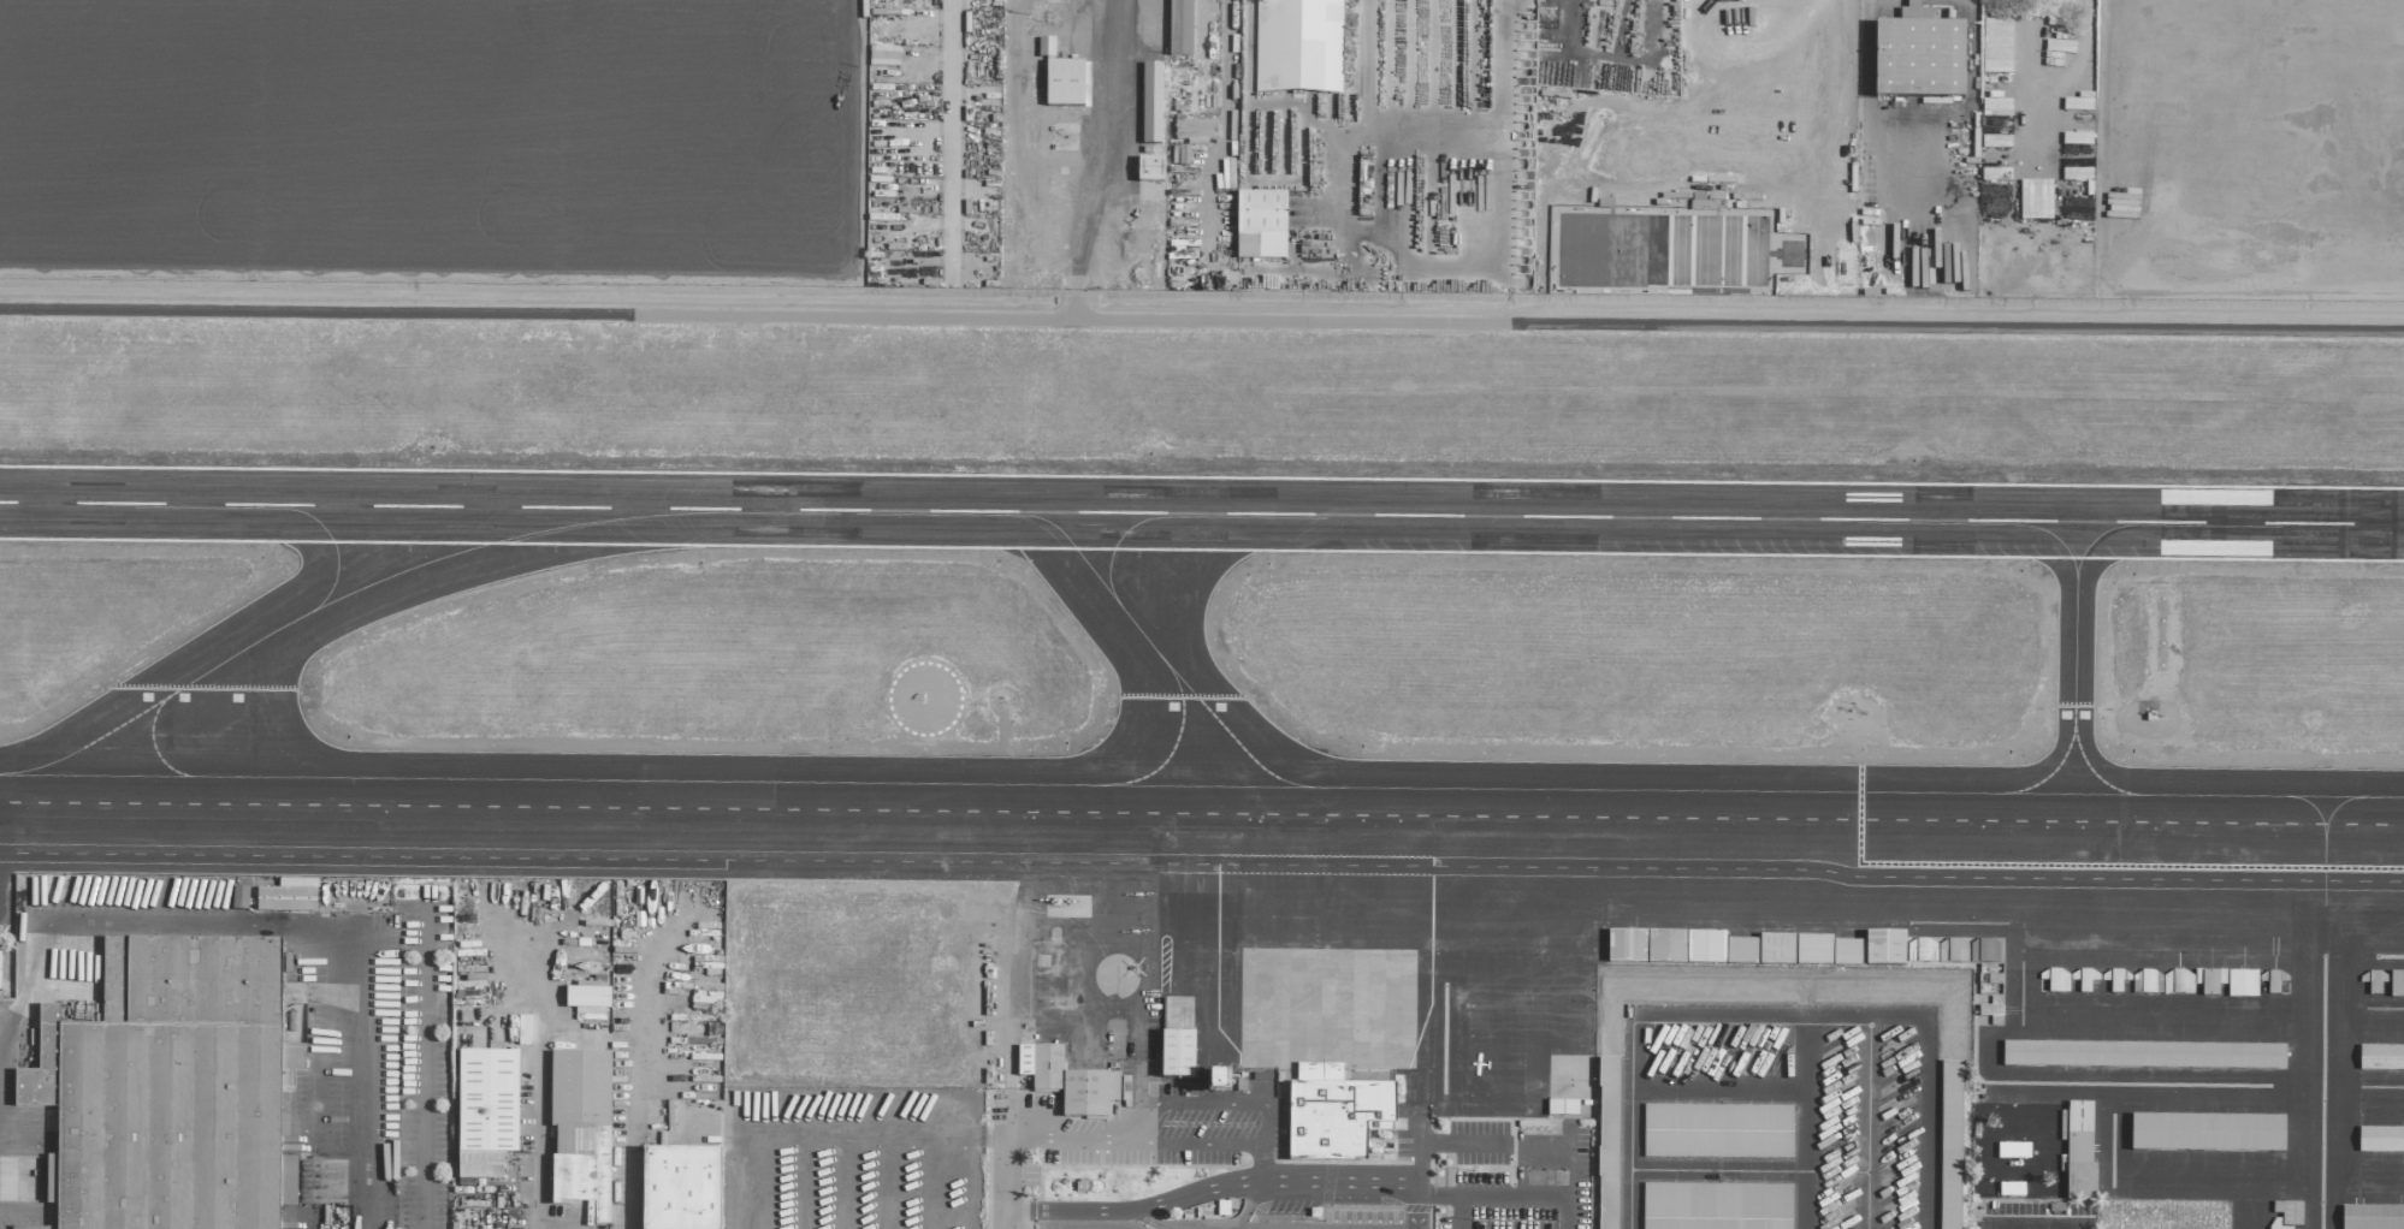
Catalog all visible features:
building: (1179, 28)
road: (1869, 43)
building: (1996, 43)
building: (1297, 46)
building: (1046, 48)
building: (1919, 55)
building: (883, 57)
road: (1120, 70)
building: (1064, 83)
building: (1150, 103)
building: (1996, 108)
building: (1195, 131)
building: (1149, 170)
helipad: (1923, 198)
building: (2035, 200)
building: (1260, 225)
road: (1410, 272)
road: (1201, 319)
airport runway: (1202, 475)
airport runway: (1202, 511)
airport taxiway: (2055, 536)
airport taxiway: (1120, 540)
airport runway: (1202, 551)
airport taxiway: (355, 590)
airport taxiway: (1091, 640)
airport taxiway: (1153, 646)
airport taxiway: (2079, 655)
airport: (1302, 681)
airport taxiway: (259, 729)
airport taxiway: (1179, 744)
airport taxiway: (2097, 772)
airport taxiway: (1202, 786)
airport taxiway: (1201, 856)
building: (288, 896)
building: (238, 898)
road: (271, 927)
building: (1665, 946)
building: (1884, 949)
building: (1776, 950)
building: (1983, 950)
building: (1741, 951)
building: (1829, 951)
building: (5, 970)
building: (2115, 981)
building: (2178, 981)
building: (2209, 981)
building: (2147, 982)
building: (2242, 984)
building: (2396, 984)
building: (586, 998)
road: (1700, 1004)
airport apron: (1307, 1013)
building: (1177, 1055)
road: (1929, 1057)
building: (2148, 1057)
building: (2381, 1059)
road: (539, 1067)
road: (424, 1069)
building: (1067, 1082)
building: (1218, 1082)
building: (168, 1090)
building: (1373, 1103)
building: (1562, 1108)
road: (1263, 1111)
building: (485, 1112)
road: (1804, 1117)
airport terminal: (1340, 1118)
road: (1867, 1118)
building: (580, 1129)
road: (629, 1133)
building: (1719, 1133)
road: (1629, 1135)
building: (2209, 1135)
road: (1070, 1138)
road: (1439, 1141)
building: (1607, 1142)
building: (2381, 1142)
building: (1952, 1146)
building: (2013, 1151)
building: (2079, 1151)
road: (1007, 1152)
road: (1232, 1185)
building: (680, 1188)
road: (1522, 1194)
road: (1255, 1206)
building: (1719, 1207)
road: (1455, 1211)
road: (1569, 1212)
building: (2288, 1212)
building: (2373, 1218)
road: (1006, 1219)
parking lot: (1364, 1219)
road: (1155, 1223)
parking lot: (1090, 1225)
road: (2033, 1225)

